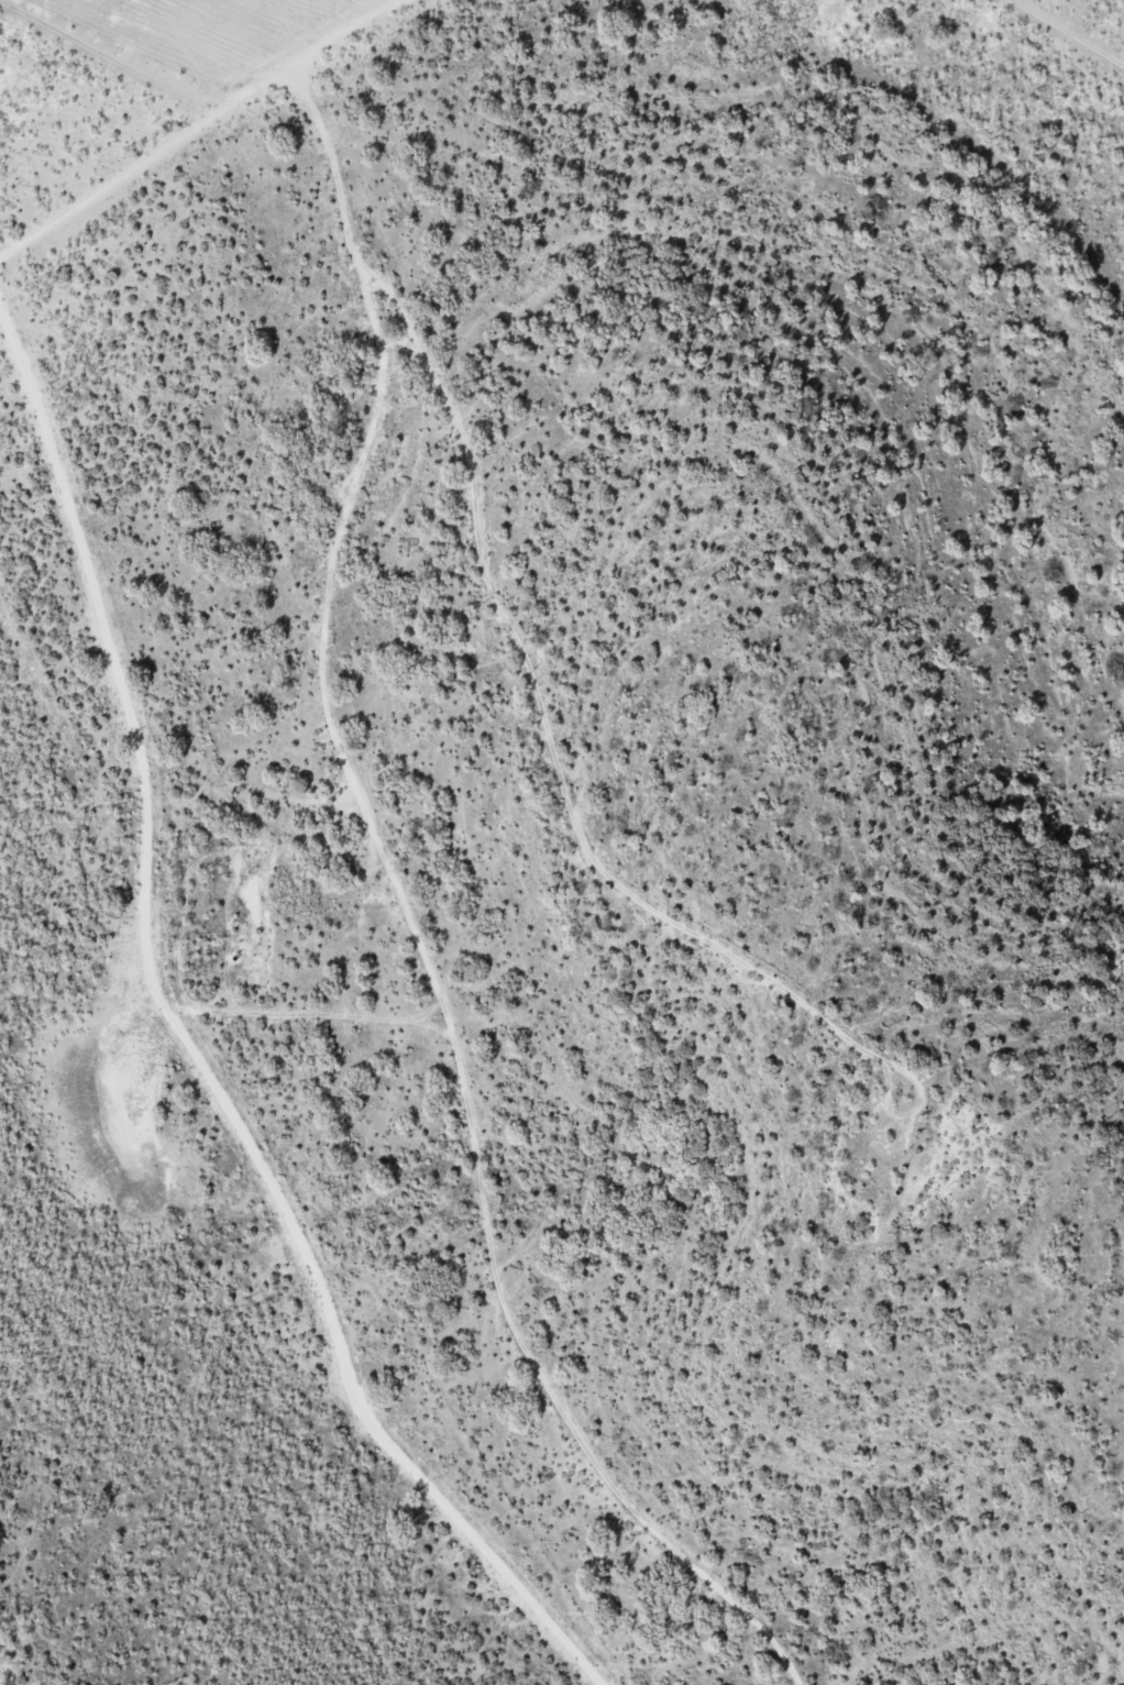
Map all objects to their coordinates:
road: (786, 4)
road: (1047, 40)
road: (192, 124)

